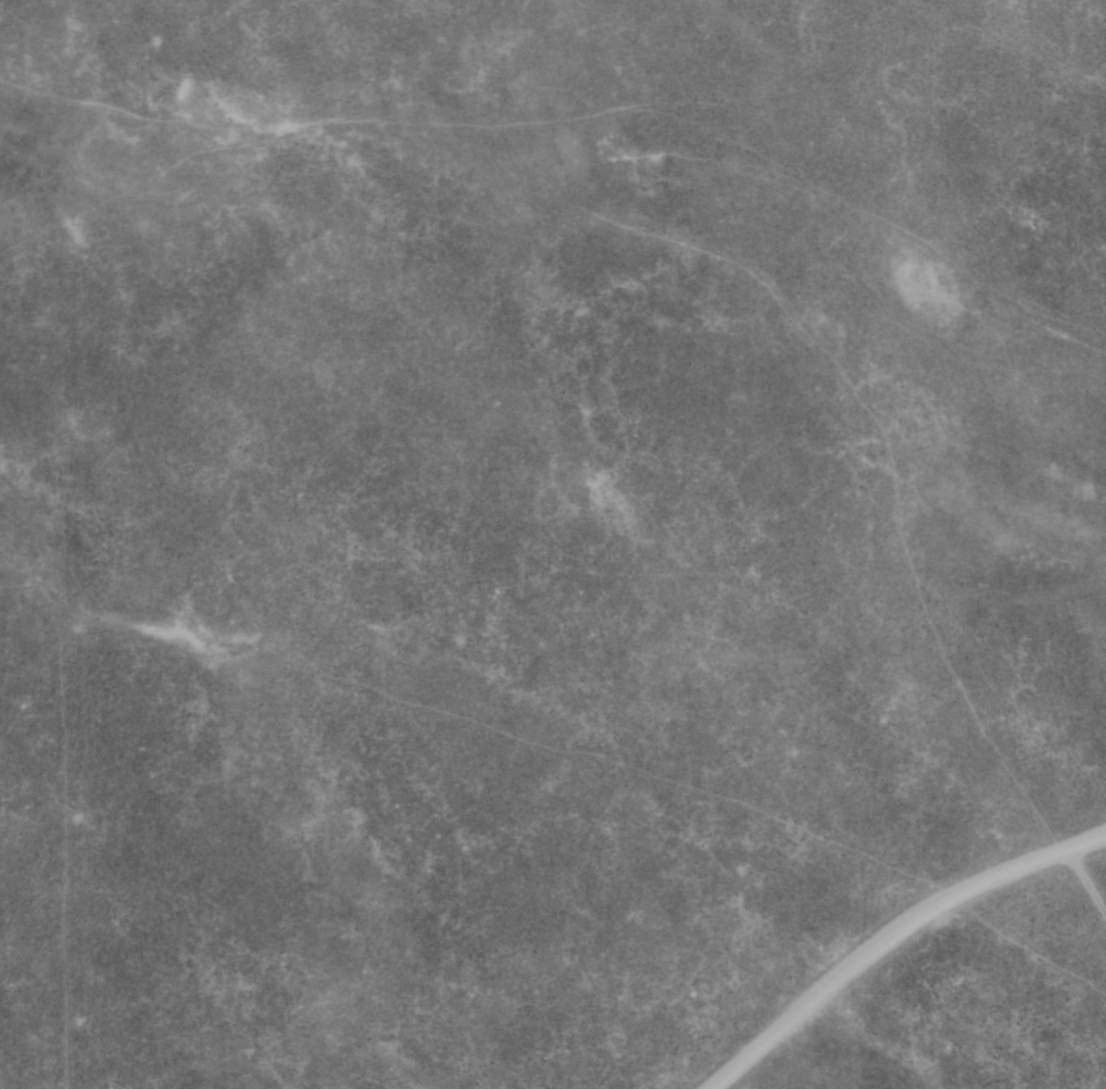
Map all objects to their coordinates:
road: (890, 934)

